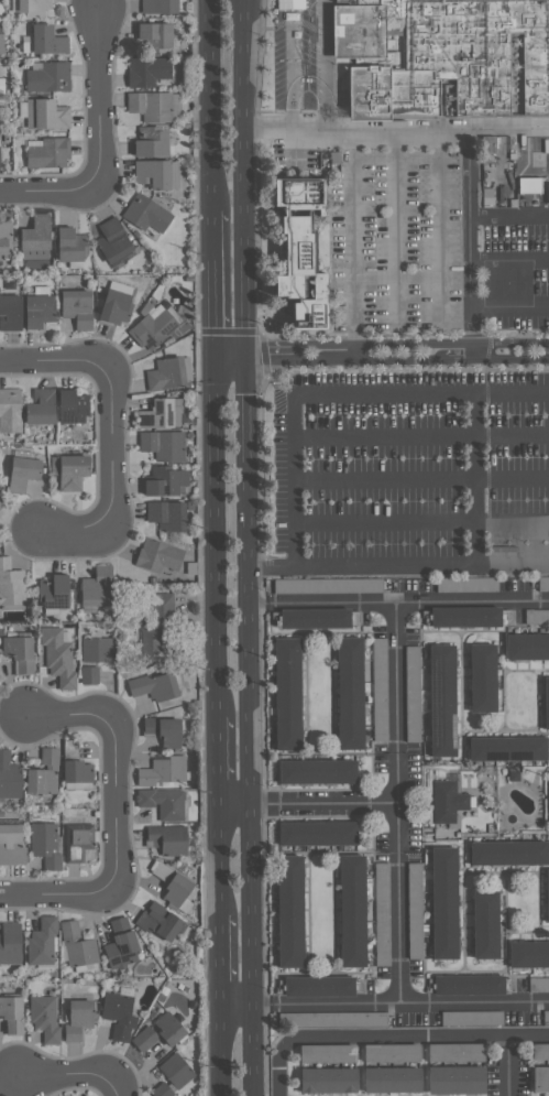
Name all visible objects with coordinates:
building: (31, 6)
building: (161, 6)
building: (157, 36)
building: (1, 41)
building: (45, 41)
building: (443, 56)
road: (289, 65)
road: (322, 65)
building: (150, 70)
building: (46, 76)
road: (98, 95)
road: (210, 104)
building: (153, 105)
building: (47, 113)
road: (396, 131)
building: (154, 142)
road: (394, 143)
building: (47, 152)
road: (381, 155)
building: (0, 156)
building: (158, 173)
road: (245, 178)
building: (529, 185)
road: (46, 188)
building: (147, 213)
road: (509, 217)
building: (7, 238)
building: (37, 239)
building: (116, 242)
road: (395, 242)
road: (471, 242)
parking lot: (437, 243)
building: (72, 245)
building: (299, 253)
road: (510, 261)
road: (213, 282)
helipad: (504, 282)
building: (116, 306)
building: (78, 307)
building: (41, 311)
road: (510, 311)
building: (11, 312)
building: (152, 325)
road: (397, 356)
road: (54, 358)
road: (231, 358)
building: (169, 373)
road: (336, 394)
building: (42, 406)
building: (74, 406)
building: (12, 410)
building: (162, 414)
road: (421, 438)
building: (163, 444)
parking lot: (411, 467)
building: (70, 471)
building: (25, 474)
road: (113, 480)
building: (168, 481)
road: (421, 481)
road: (476, 481)
building: (2, 503)
building: (168, 516)
road: (421, 524)
road: (217, 539)
building: (160, 556)
road: (398, 568)
building: (466, 584)
building: (542, 584)
building: (327, 585)
building: (11, 586)
building: (99, 588)
building: (56, 592)
road: (398, 603)
building: (463, 616)
building: (536, 616)
building: (315, 618)
building: (161, 630)
building: (527, 645)
building: (98, 649)
building: (22, 653)
building: (62, 654)
building: (91, 674)
building: (481, 677)
building: (158, 686)
building: (378, 688)
building: (286, 693)
building: (349, 693)
building: (410, 693)
building: (441, 701)
building: (546, 703)
road: (250, 726)
building: (167, 730)
building: (506, 748)
road: (114, 759)
road: (219, 762)
building: (163, 769)
building: (316, 771)
building: (43, 772)
building: (77, 774)
building: (9, 777)
building: (447, 799)
building: (166, 801)
road: (396, 804)
road: (308, 805)
building: (317, 833)
building: (171, 838)
building: (79, 840)
building: (11, 845)
building: (47, 845)
building: (507, 853)
road: (220, 864)
building: (177, 887)
road: (57, 893)
building: (547, 893)
building: (443, 902)
building: (351, 910)
building: (414, 910)
building: (289, 911)
building: (381, 913)
building: (162, 920)
building: (484, 924)
building: (45, 941)
building: (12, 943)
building: (122, 944)
building: (79, 946)
building: (528, 954)
road: (221, 964)
building: (468, 984)
building: (538, 984)
building: (317, 986)
road: (385, 1005)
building: (14, 1013)
building: (118, 1016)
building: (44, 1017)
building: (545, 1017)
building: (471, 1018)
building: (77, 1019)
building: (332, 1019)
building: (168, 1028)
building: (144, 1039)
road: (416, 1040)
road: (222, 1051)
building: (539, 1051)
building: (454, 1052)
building: (327, 1053)
building: (391, 1053)
road: (509, 1067)
road: (282, 1068)
building: (175, 1071)
building: (540, 1078)
building: (391, 1079)
building: (454, 1079)
building: (327, 1081)
road: (74, 1082)
building: (162, 1089)

